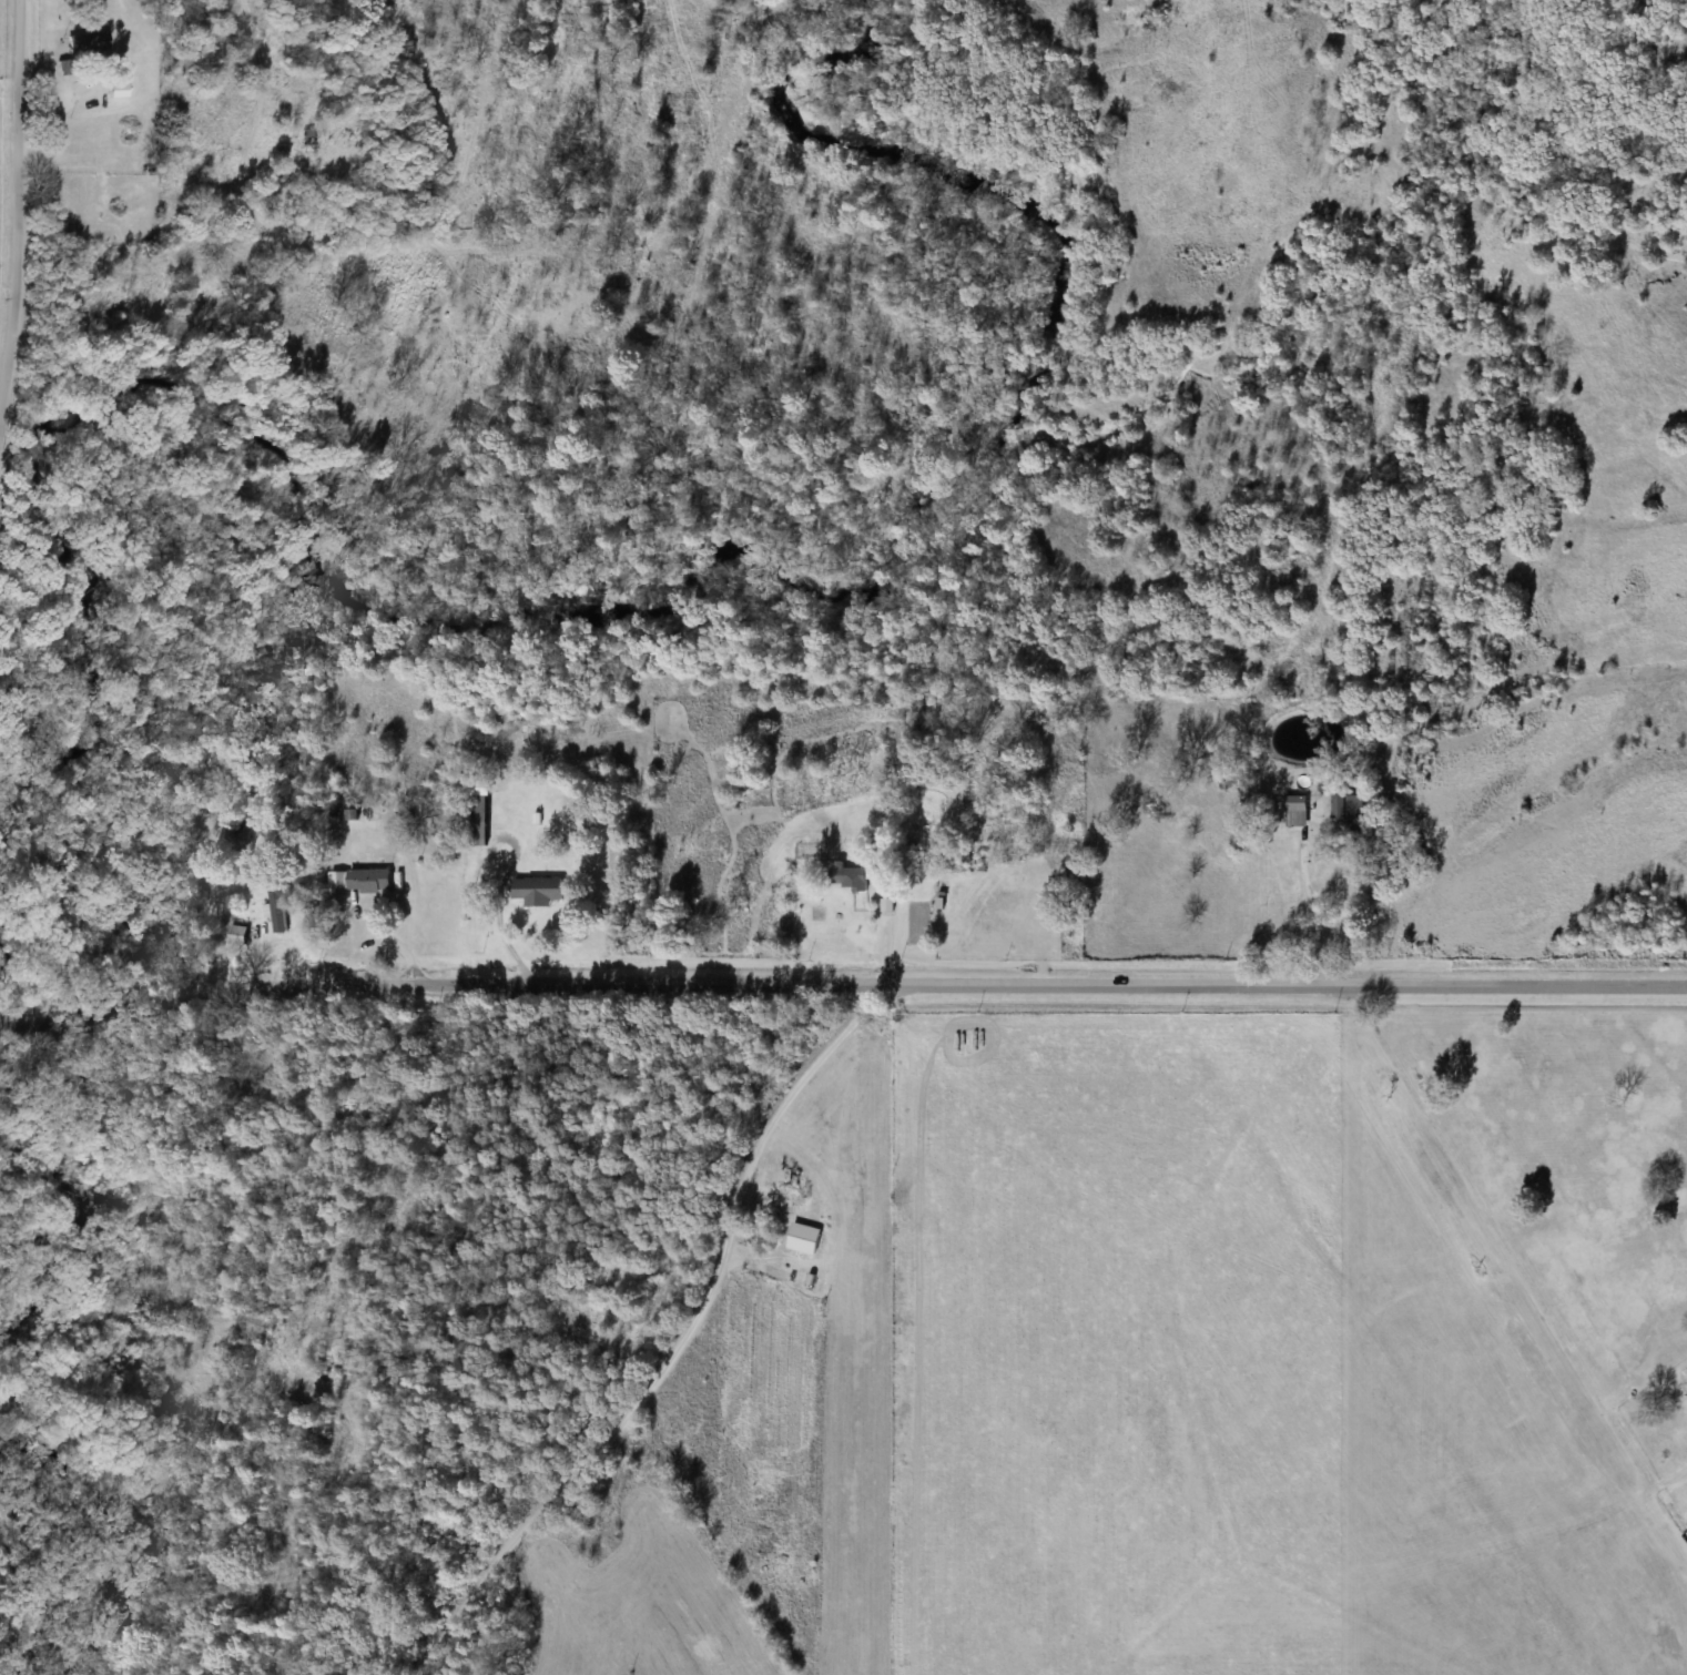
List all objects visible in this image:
building: (85, 43)
building: (115, 87)
road: (20, 219)
building: (1226, 782)
building: (1348, 806)
building: (1295, 811)
building: (478, 820)
building: (848, 876)
building: (358, 880)
building: (537, 891)
road: (1314, 915)
building: (237, 935)
road: (840, 985)
road: (683, 1347)

